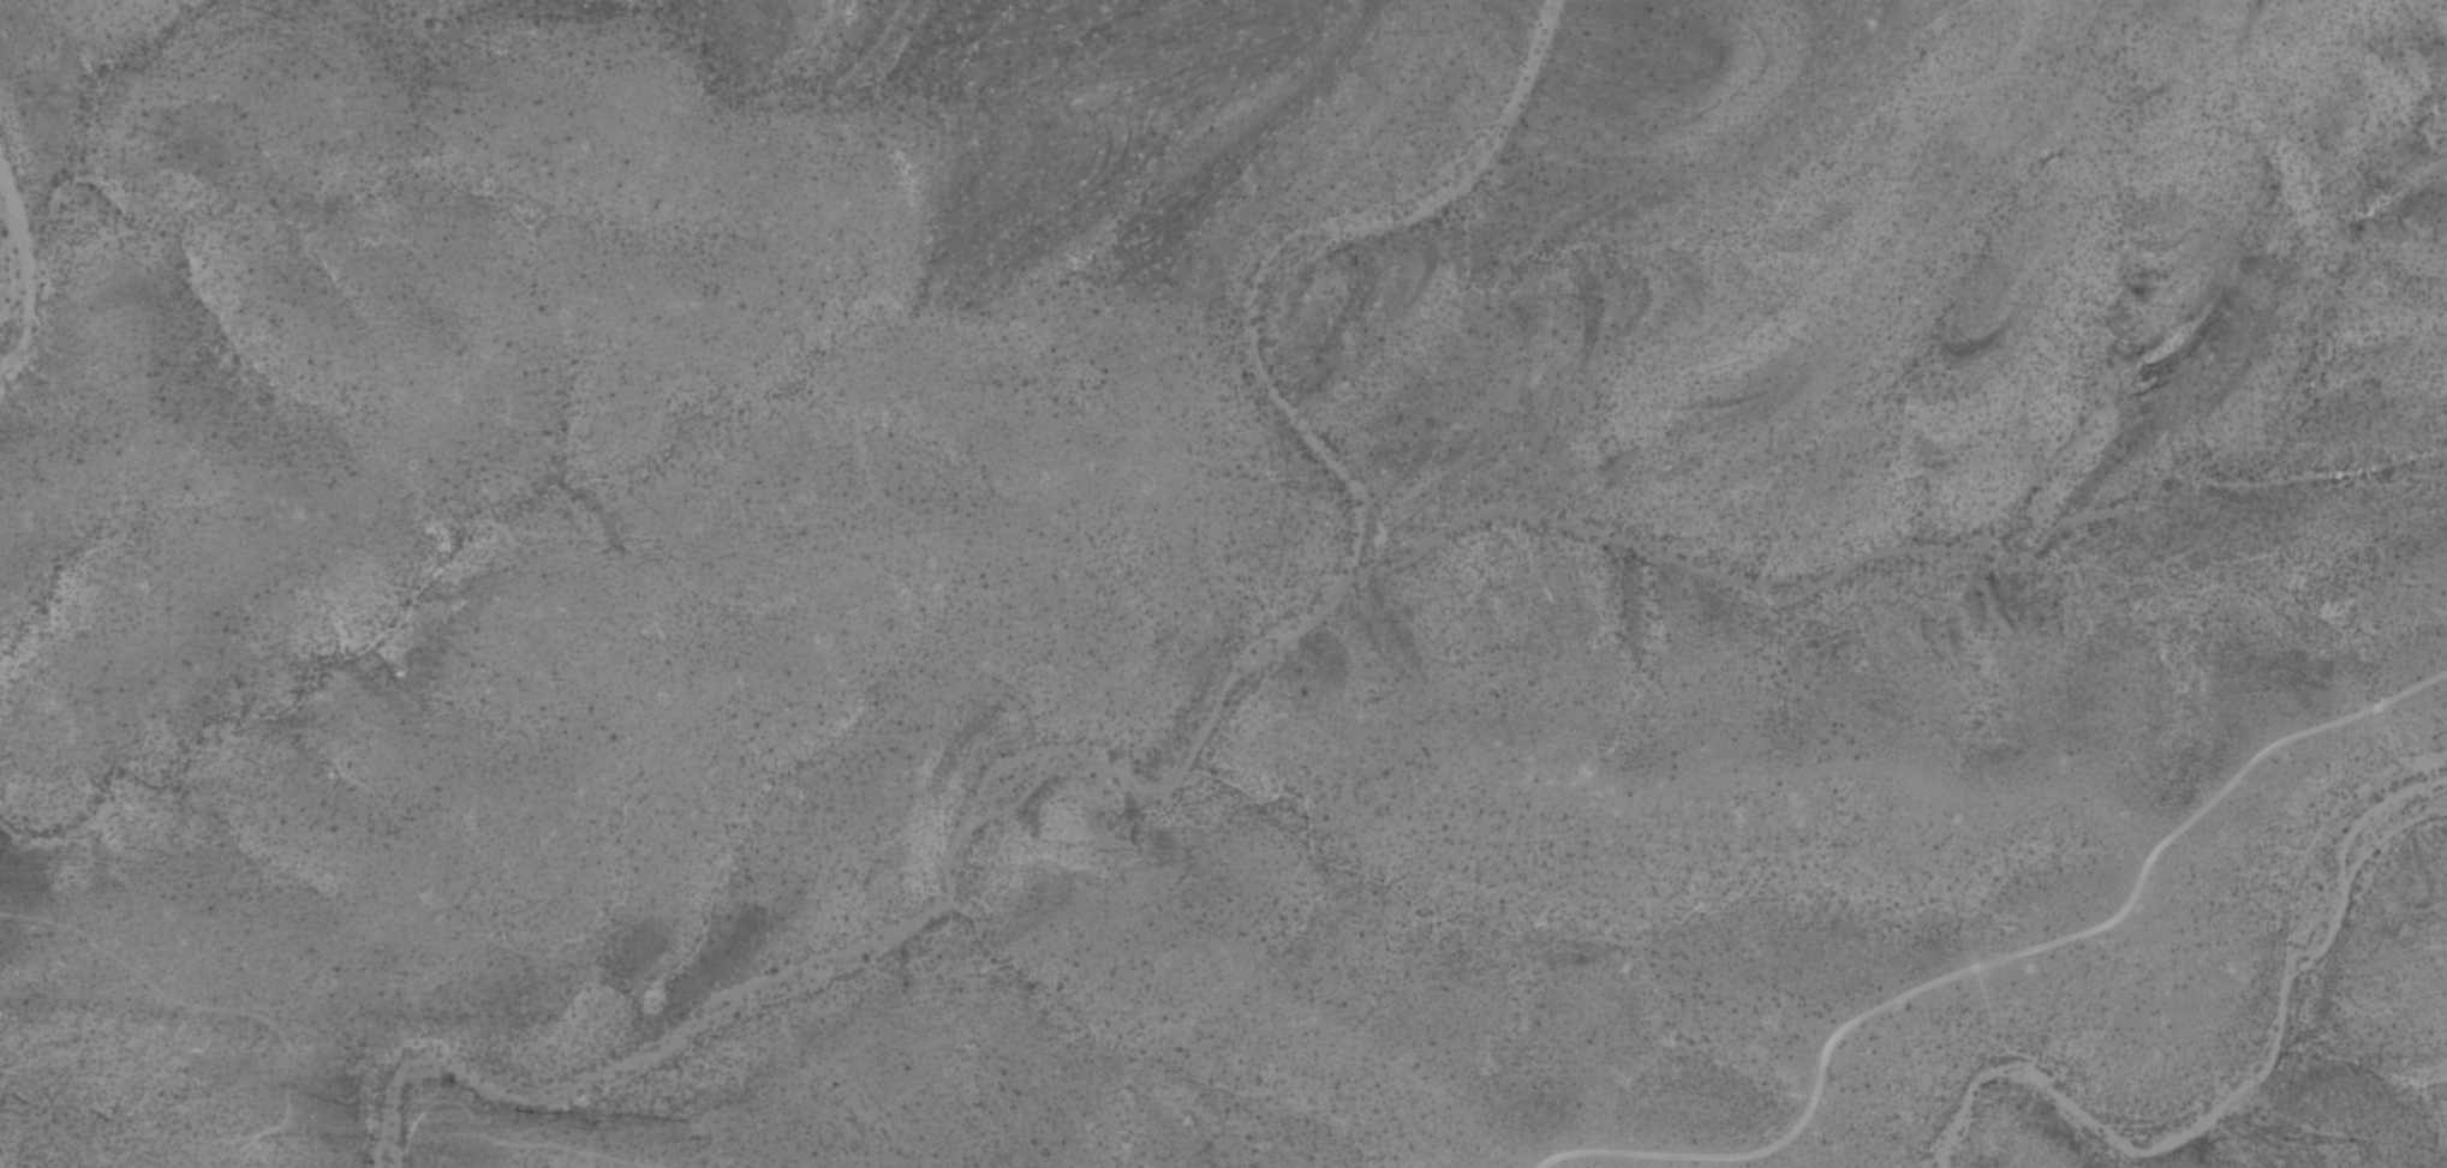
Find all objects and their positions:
road: (227, 1010)
road: (467, 1131)

